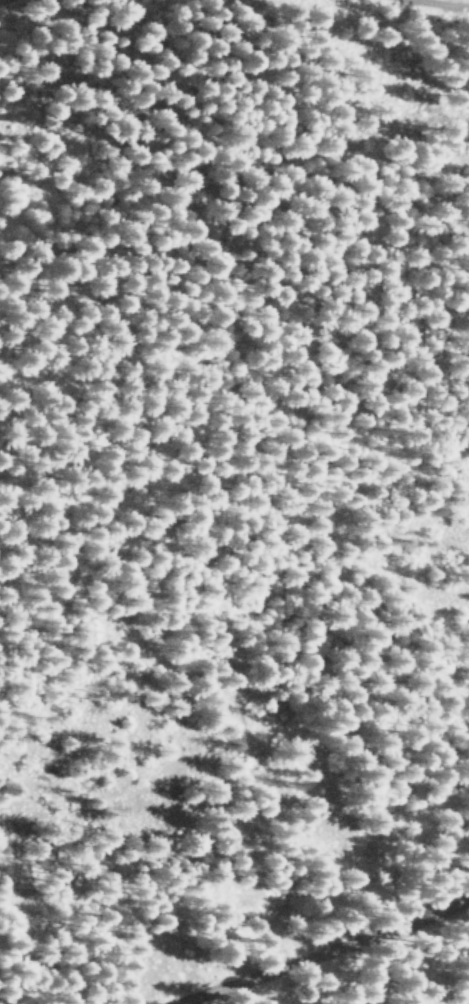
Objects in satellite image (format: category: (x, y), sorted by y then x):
road: (6, 2)
road: (438, 3)
road: (319, 951)

